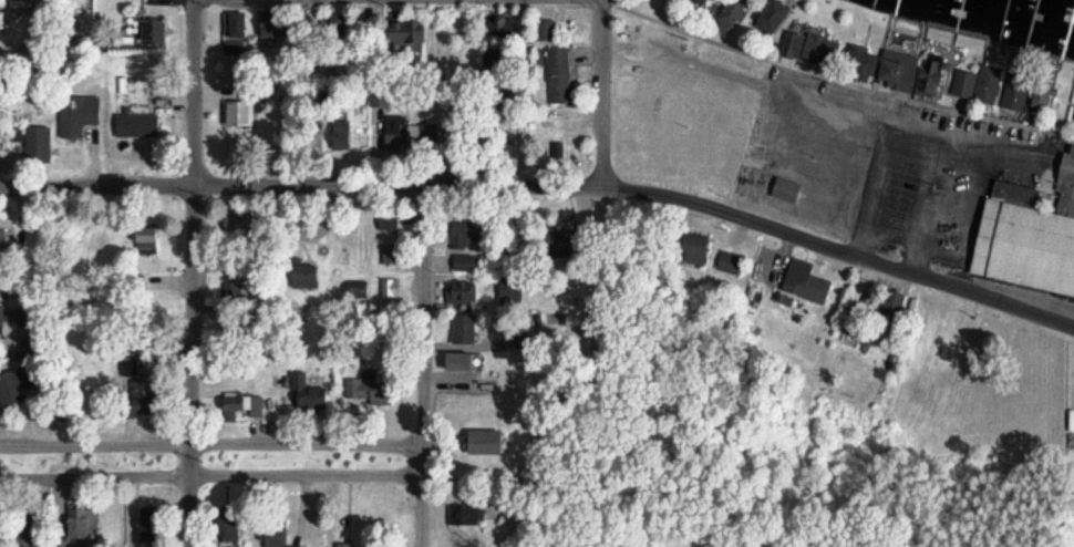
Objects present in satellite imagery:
building: (701, 2)
building: (736, 11)
building: (777, 16)
building: (239, 24)
building: (281, 29)
building: (548, 29)
building: (153, 30)
building: (407, 30)
road: (601, 41)
building: (236, 47)
building: (813, 48)
road: (729, 49)
building: (861, 56)
building: (900, 70)
building: (562, 75)
building: (931, 75)
building: (965, 82)
building: (991, 83)
building: (1018, 90)
building: (4, 97)
building: (1044, 99)
building: (241, 109)
building: (80, 114)
building: (138, 124)
road: (601, 135)
building: (41, 141)
building: (787, 189)
road: (547, 190)
building: (390, 221)
building: (3, 235)
building: (467, 235)
building: (1026, 235)
building: (700, 251)
building: (391, 254)
building: (469, 261)
building: (731, 262)
road: (194, 273)
building: (311, 276)
building: (804, 282)
building: (392, 287)
building: (231, 289)
building: (462, 291)
building: (16, 319)
building: (464, 329)
building: (520, 340)
building: (33, 348)
building: (466, 361)
road: (417, 368)
building: (16, 384)
building: (365, 389)
building: (309, 393)
building: (143, 396)
building: (244, 402)
building: (489, 442)
road: (211, 450)
road: (214, 479)
building: (467, 513)
building: (86, 523)
building: (153, 524)
building: (234, 527)
building: (275, 537)
building: (354, 546)

